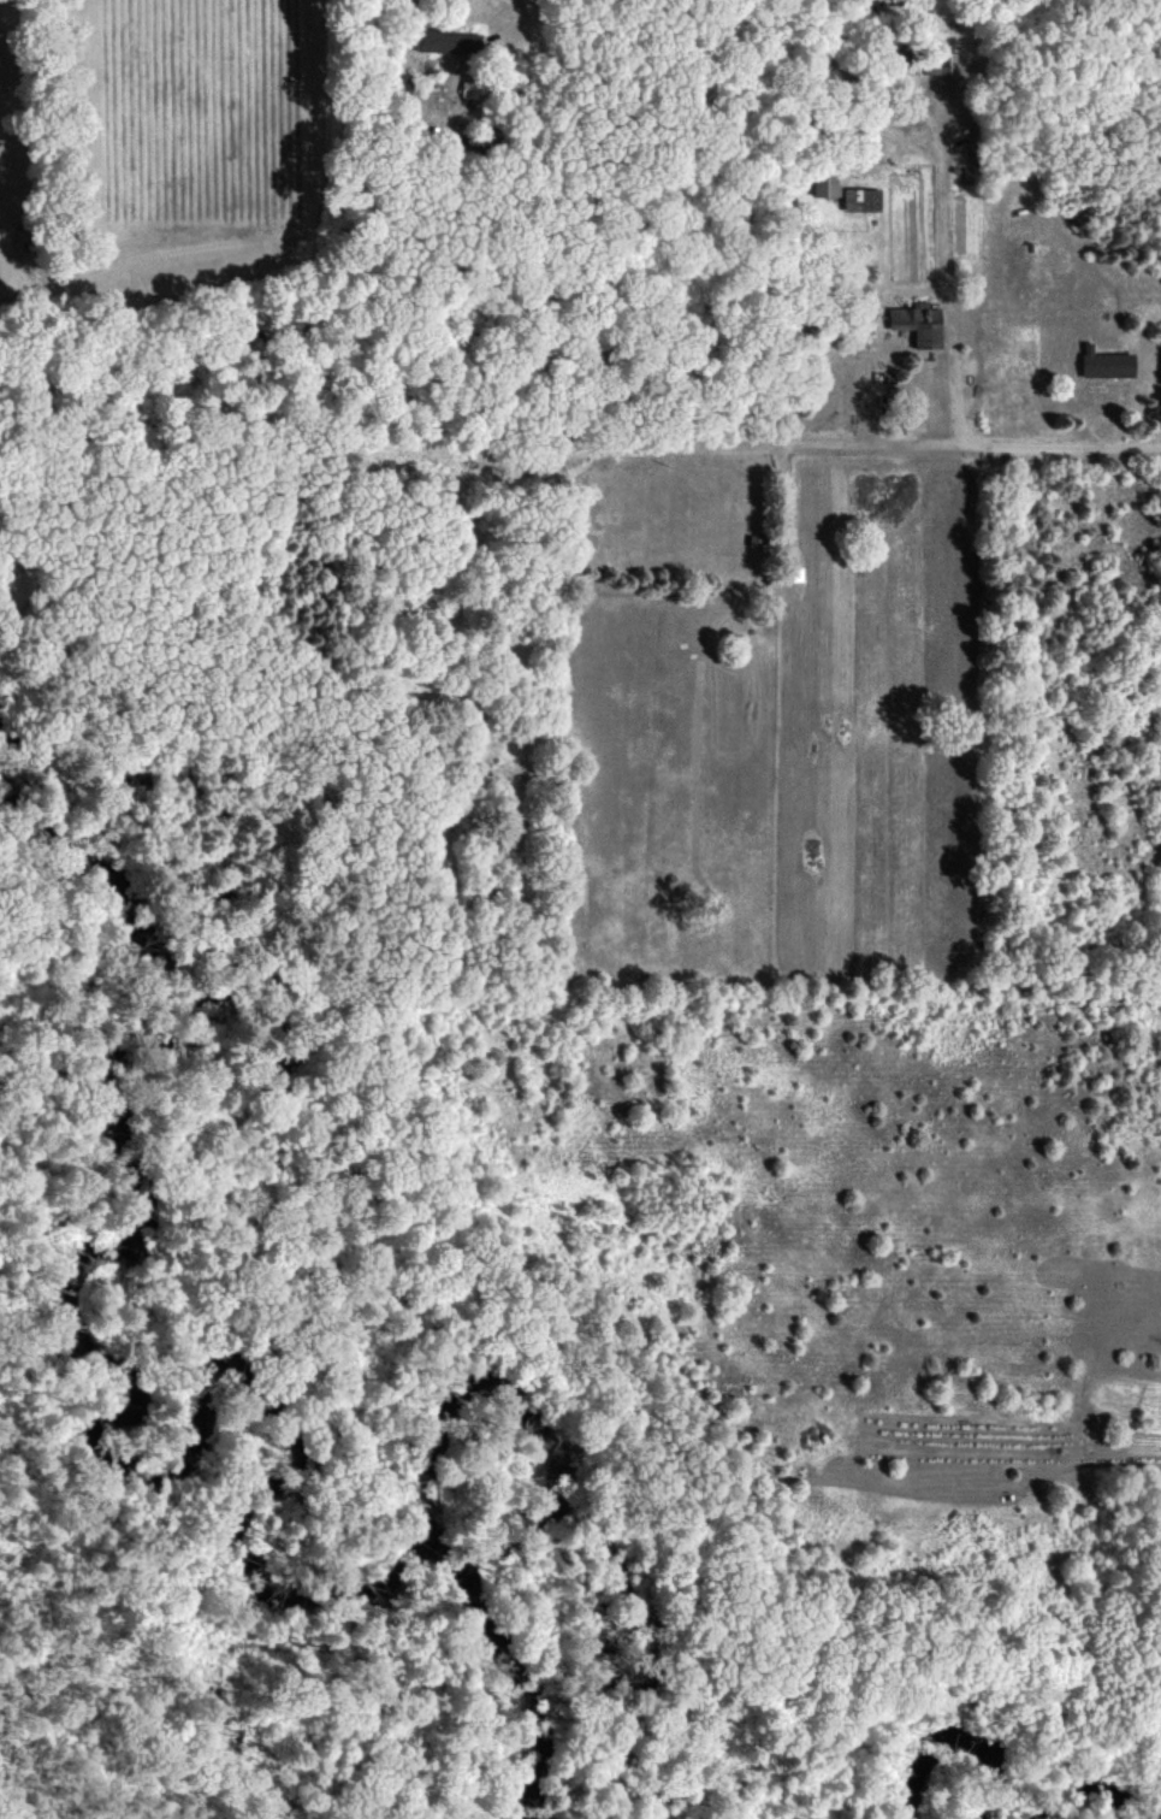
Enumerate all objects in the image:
road: (522, 14)
building: (445, 42)
building: (937, 61)
building: (823, 183)
road: (946, 188)
building: (859, 199)
building: (916, 323)
building: (1103, 362)
road: (879, 432)
road: (1066, 436)

